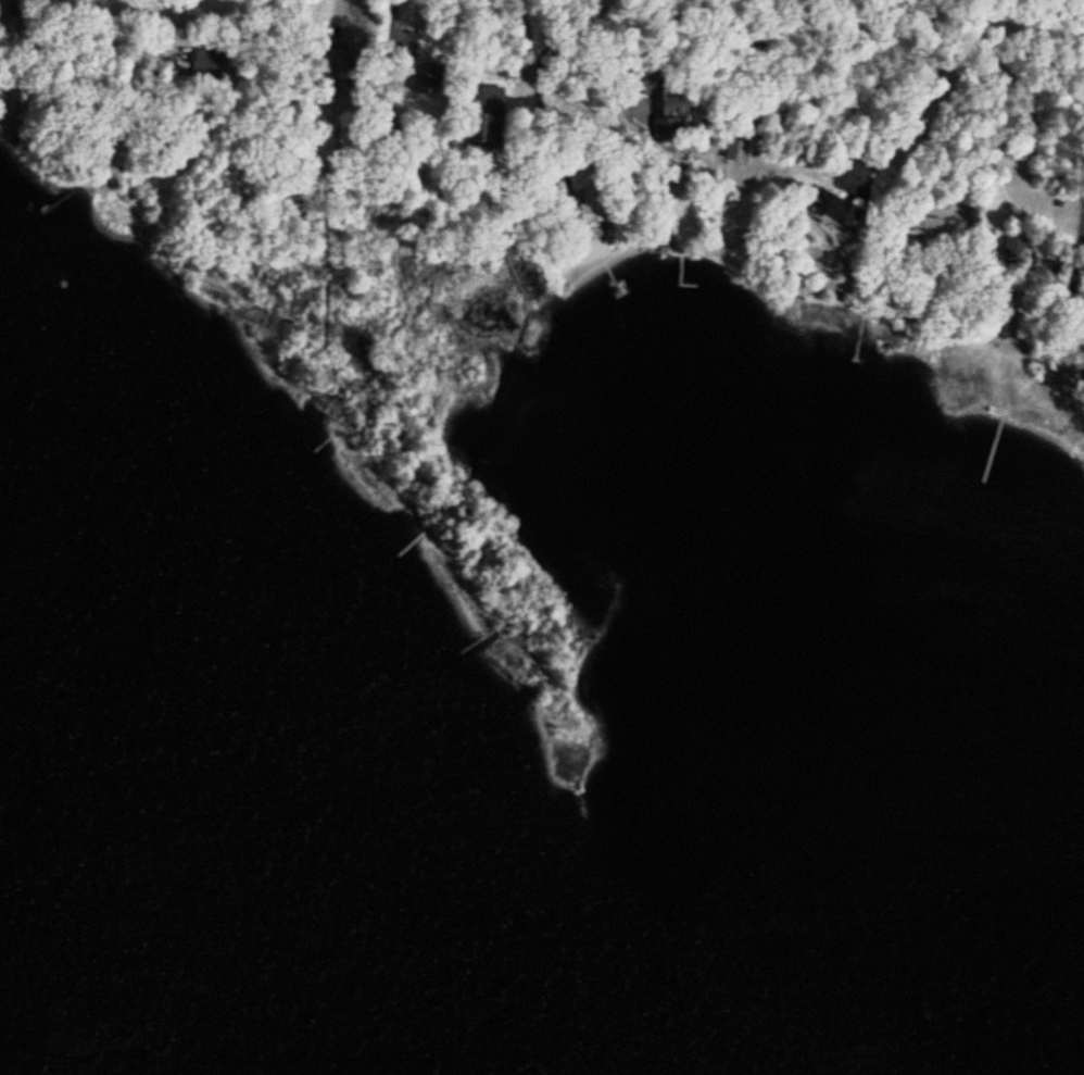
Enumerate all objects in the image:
road: (337, 8)
road: (398, 11)
road: (942, 35)
road: (777, 52)
road: (596, 55)
building: (205, 66)
building: (336, 67)
road: (537, 80)
building: (428, 83)
building: (490, 116)
building: (735, 152)
building: (592, 193)
building: (834, 211)
building: (921, 229)
building: (1014, 252)

